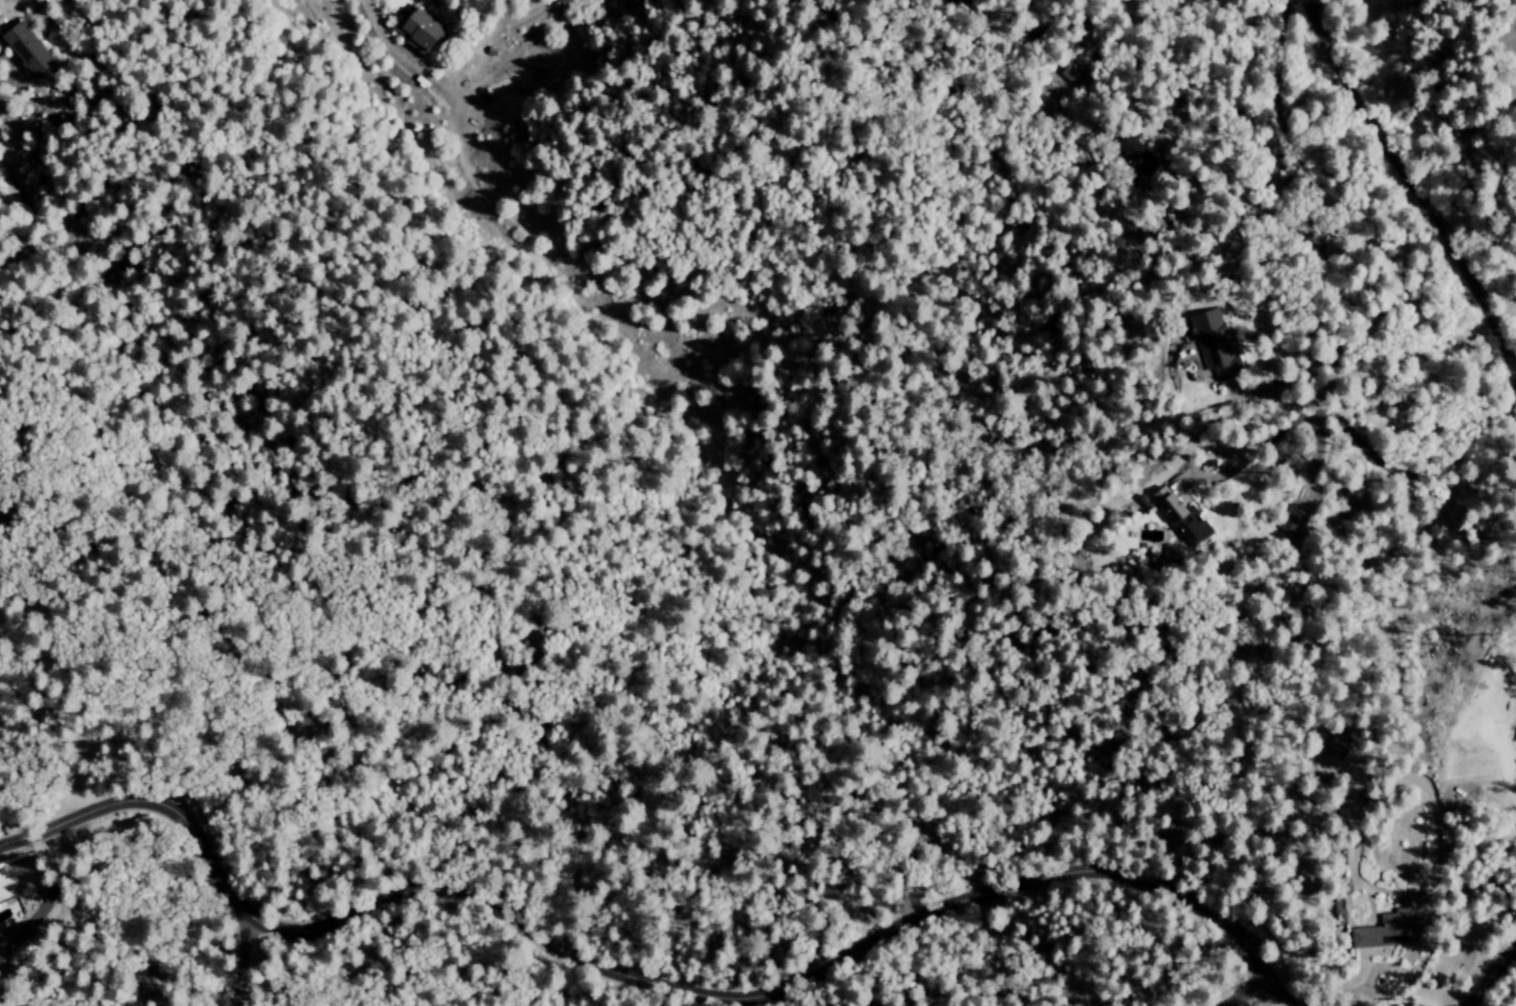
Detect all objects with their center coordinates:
road: (1041, 8)
building: (420, 30)
building: (25, 51)
road: (390, 53)
building: (1136, 157)
road: (1407, 193)
road: (1244, 204)
road: (1315, 248)
building: (1211, 346)
road: (1359, 435)
road: (1315, 454)
building: (1306, 500)
building: (1177, 519)
building: (1293, 521)
building: (1515, 739)
road: (36, 834)
building: (1344, 888)
building: (1340, 918)
building: (1373, 934)
road: (239, 958)
road: (1485, 970)
road: (673, 986)
road: (1237, 987)

